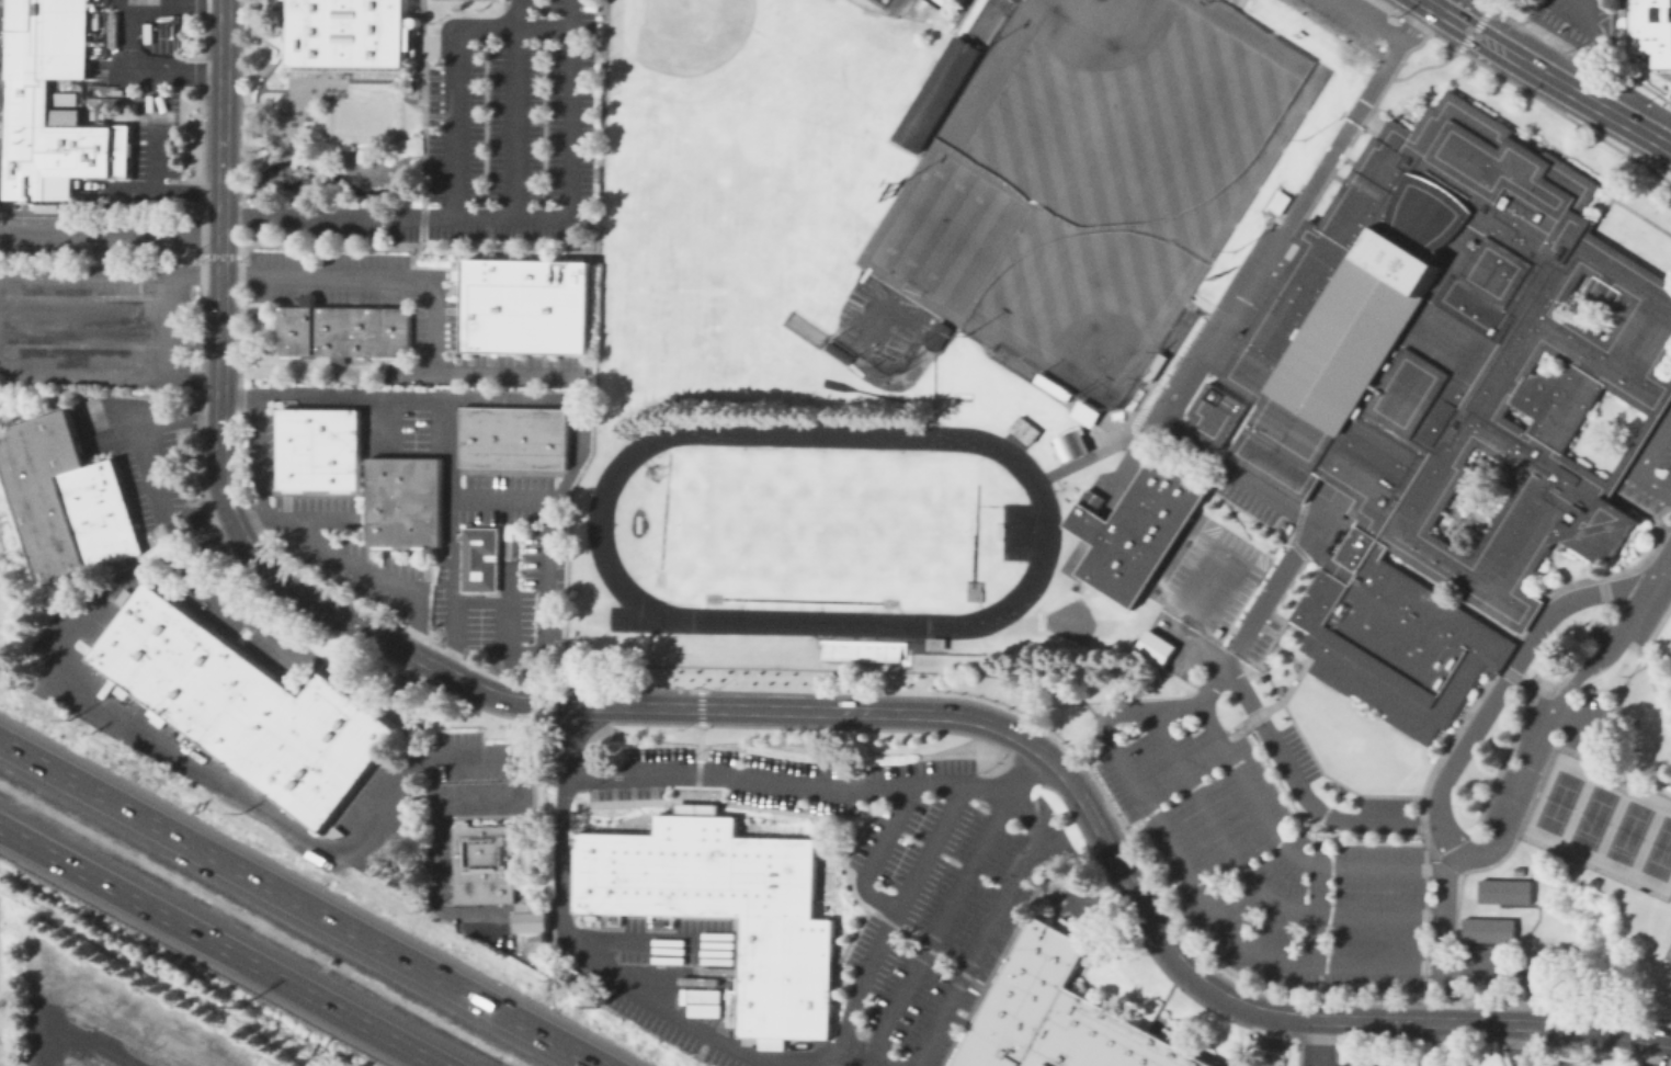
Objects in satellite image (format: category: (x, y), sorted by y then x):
road: (163, 2)
road: (1232, 2)
road: (1392, 3)
road: (1487, 7)
road: (1436, 9)
road: (1455, 9)
stadium: (888, 10)
parking lot: (1352, 15)
road: (1368, 19)
road: (1410, 19)
park: (982, 21)
road: (1478, 21)
parking lot: (1580, 23)
road: (1479, 24)
building: (93, 29)
building: (1650, 29)
building: (346, 32)
road: (1470, 32)
building: (102, 39)
road: (1463, 41)
road: (1469, 41)
road: (1596, 46)
park: (696, 52)
road: (452, 66)
road: (1419, 66)
road: (190, 75)
road: (155, 86)
building: (25, 91)
building: (934, 91)
building: (99, 92)
building: (117, 92)
building: (62, 97)
road: (1584, 99)
parking lot: (135, 102)
road: (516, 109)
road: (1564, 115)
park: (360, 116)
park: (1128, 116)
road: (1367, 118)
road: (1392, 134)
parking lot: (496, 136)
road: (1668, 139)
road: (1538, 151)
road: (1559, 156)
park: (1167, 166)
building: (1344, 186)
road: (138, 189)
road: (1611, 194)
silo: (81, 197)
road: (1640, 215)
road: (503, 217)
road: (1292, 224)
road: (111, 230)
road: (1306, 231)
park: (947, 233)
road: (1585, 234)
parking lot: (1253, 248)
building: (1292, 249)
park: (694, 252)
building: (1624, 258)
road: (84, 272)
road: (195, 274)
road: (432, 298)
building: (524, 304)
building: (1270, 306)
building: (1591, 306)
park: (1087, 307)
road: (83, 320)
parking lot: (98, 320)
park: (802, 327)
building: (342, 328)
parking lot: (435, 329)
park: (1174, 329)
building: (935, 334)
building: (837, 351)
building: (1544, 359)
park: (762, 361)
park: (1012, 361)
building: (1151, 365)
road: (128, 366)
road: (1193, 373)
road: (220, 375)
parking lot: (1174, 378)
road: (1659, 378)
building: (1050, 385)
track: (852, 387)
road: (1224, 387)
building: (1436, 394)
road: (1257, 395)
road: (503, 397)
building: (1083, 412)
building: (1213, 413)
building: (1511, 416)
road: (380, 420)
building: (317, 427)
building: (1022, 428)
road: (1235, 429)
building: (1640, 430)
building: (473, 434)
building: (499, 435)
building: (526, 435)
building: (553, 436)
road: (1636, 438)
road: (1118, 439)
building: (1069, 444)
parking lot: (141, 455)
road: (151, 460)
road: (1641, 461)
parking lot: (1652, 467)
building: (297, 468)
building: (339, 468)
road: (1320, 470)
road: (1113, 484)
building: (1343, 489)
road: (1603, 489)
road: (1669, 490)
road: (1308, 492)
building: (65, 497)
parking lot: (1243, 498)
road: (1615, 498)
building: (385, 500)
building: (421, 500)
building: (1473, 500)
park: (711, 507)
building: (1082, 510)
road: (317, 520)
road: (251, 521)
park: (819, 525)
parking lot: (311, 528)
track: (1046, 528)
building: (1093, 528)
building: (1140, 530)
track: (974, 532)
road: (450, 535)
park: (970, 555)
building: (478, 557)
road: (1641, 559)
road: (1551, 564)
building: (1424, 567)
parking lot: (1207, 576)
road: (1291, 579)
road: (546, 590)
road: (1523, 594)
road: (478, 599)
track: (799, 599)
parking lot: (1638, 601)
road: (231, 604)
road: (1527, 613)
road: (1189, 616)
park: (1039, 620)
road: (508, 634)
road: (1515, 636)
parking lot: (1260, 637)
road: (1311, 637)
building: (1303, 639)
building: (934, 643)
building: (1310, 643)
parking lot: (1180, 645)
building: (1153, 646)
road: (1315, 646)
building: (1306, 651)
road: (1287, 653)
park: (1668, 654)
road: (1568, 656)
road: (1500, 658)
building: (1498, 659)
road: (1497, 666)
building: (1496, 669)
building: (1487, 673)
road: (1004, 674)
building: (1476, 679)
building: (1326, 683)
road: (1501, 684)
road: (1652, 687)
road: (488, 692)
parking lot: (91, 701)
building: (1367, 702)
road: (1271, 704)
building: (245, 705)
building: (1458, 707)
building: (155, 715)
parking lot: (1591, 726)
building: (1401, 732)
road: (1303, 741)
parking lot: (1298, 750)
parking lot: (1524, 768)
road: (1524, 784)
road: (811, 790)
road: (1301, 792)
road: (524, 797)
park: (1557, 802)
parking lot: (1385, 804)
road: (431, 812)
park: (1592, 816)
park: (1627, 831)
road: (1426, 842)
road: (1042, 843)
road: (1285, 846)
park: (1659, 850)
road: (337, 852)
road: (875, 854)
road: (1179, 859)
parking lot: (439, 862)
building: (481, 862)
road: (1119, 869)
building: (1516, 870)
road: (1251, 881)
parking lot: (1291, 881)
building: (1592, 882)
building: (1503, 889)
parking lot: (879, 891)
road: (302, 903)
building: (724, 908)
road: (1316, 916)
road: (935, 921)
building: (530, 923)
road: (891, 925)
building: (468, 927)
building: (1487, 928)
road: (227, 941)
road: (569, 941)
road: (976, 951)
road: (105, 990)
building: (708, 1010)
building: (1058, 1014)
road: (1320, 1043)
road: (89, 1044)
road: (1516, 1044)
road: (862, 1052)
road: (1653, 1052)
parking lot: (1388, 1057)
parking lot: (1568, 1064)

